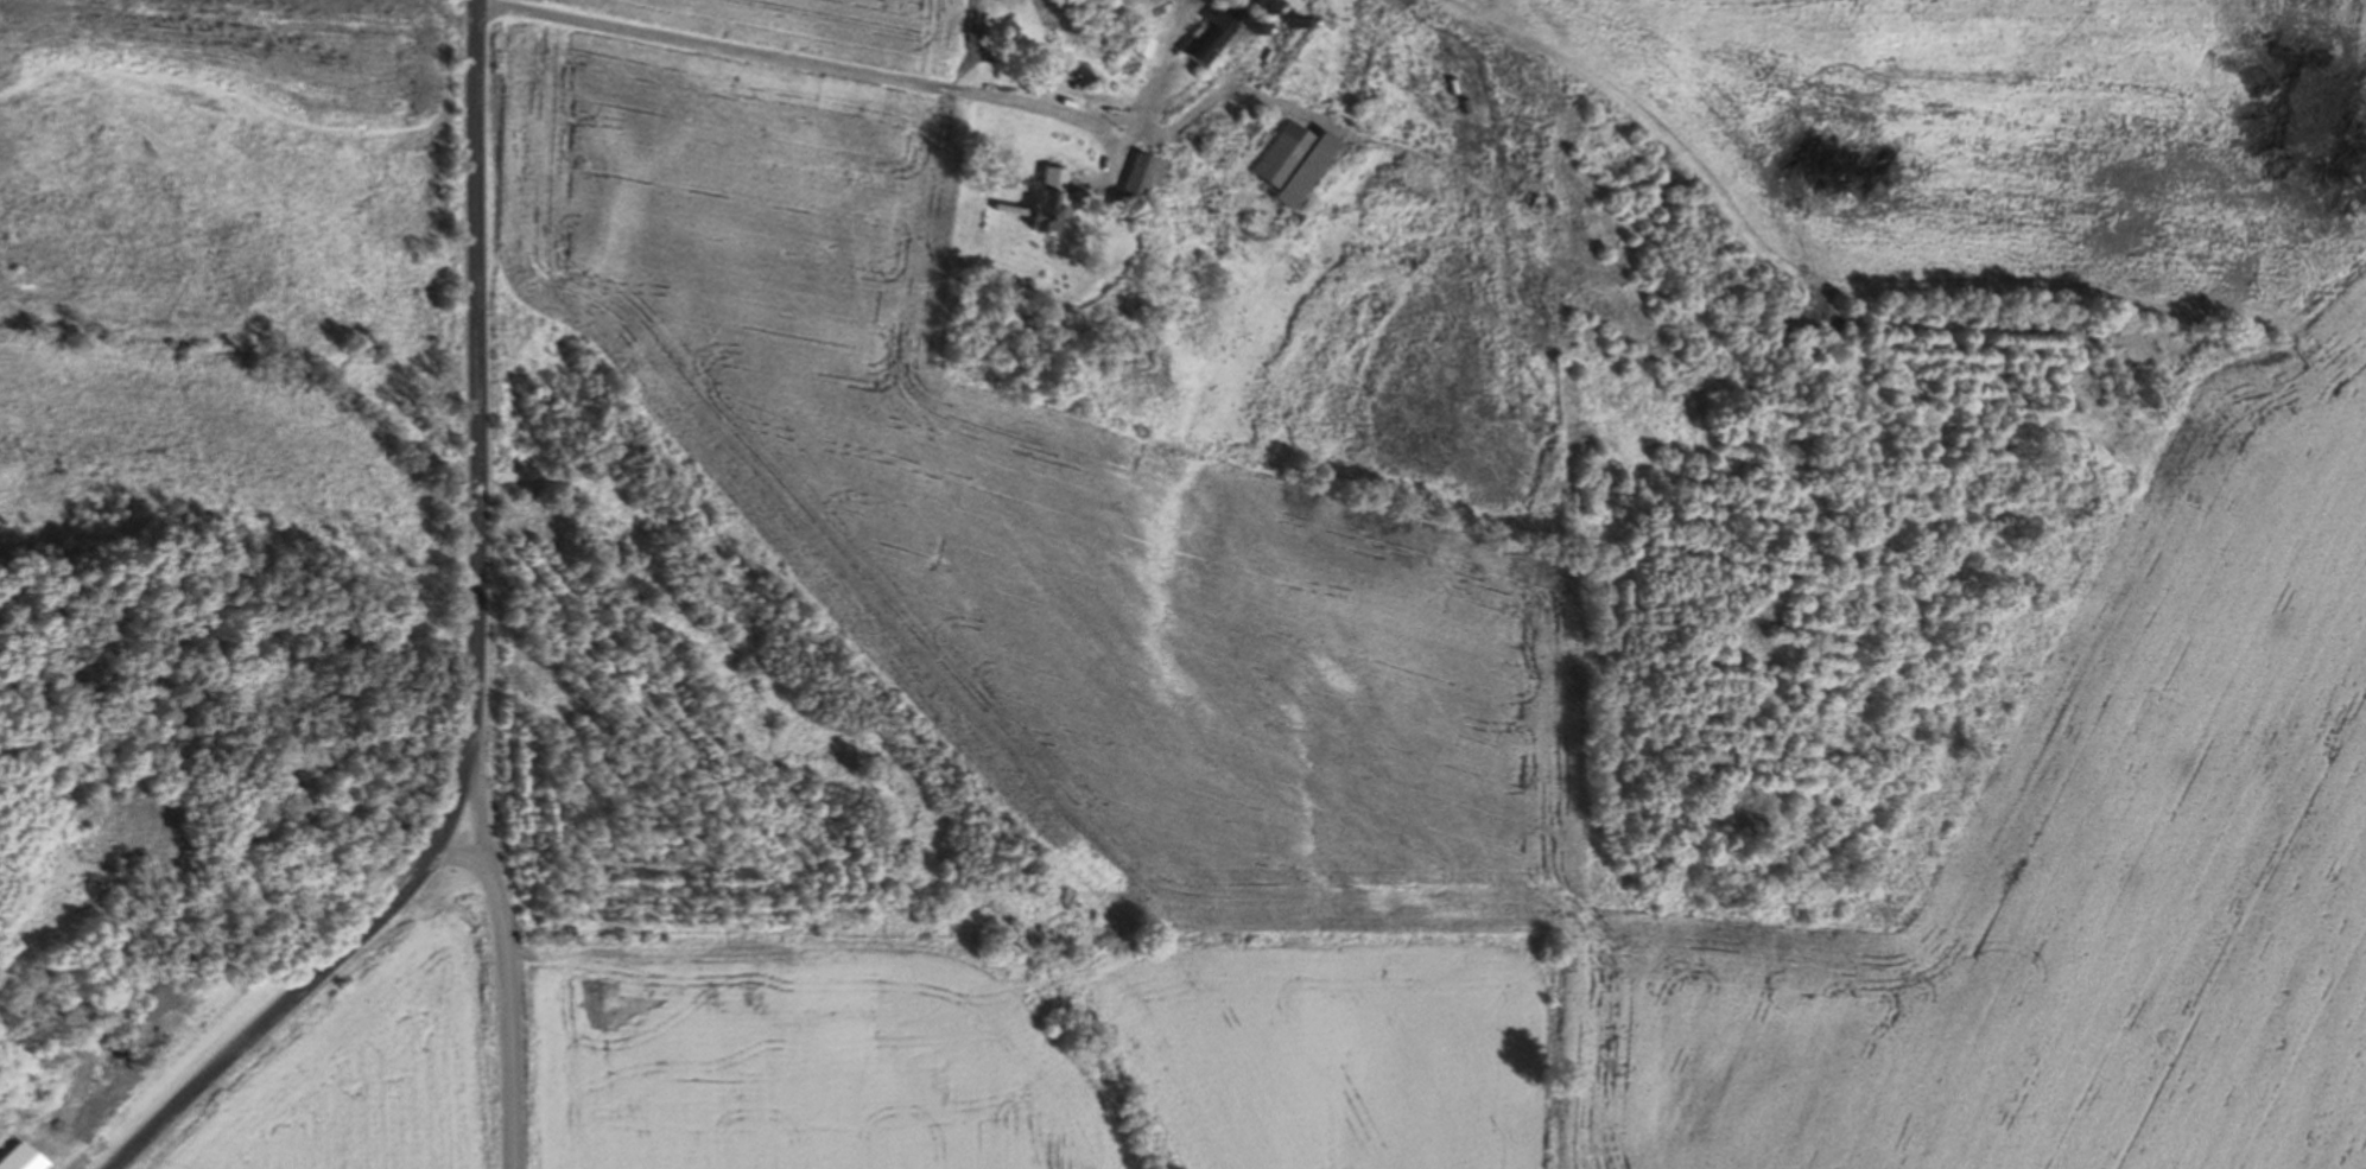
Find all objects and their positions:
building: (1123, 45)
road: (799, 63)
building: (1283, 163)
building: (1131, 178)
building: (1042, 203)
road: (475, 654)
road: (461, 852)
road: (503, 960)

